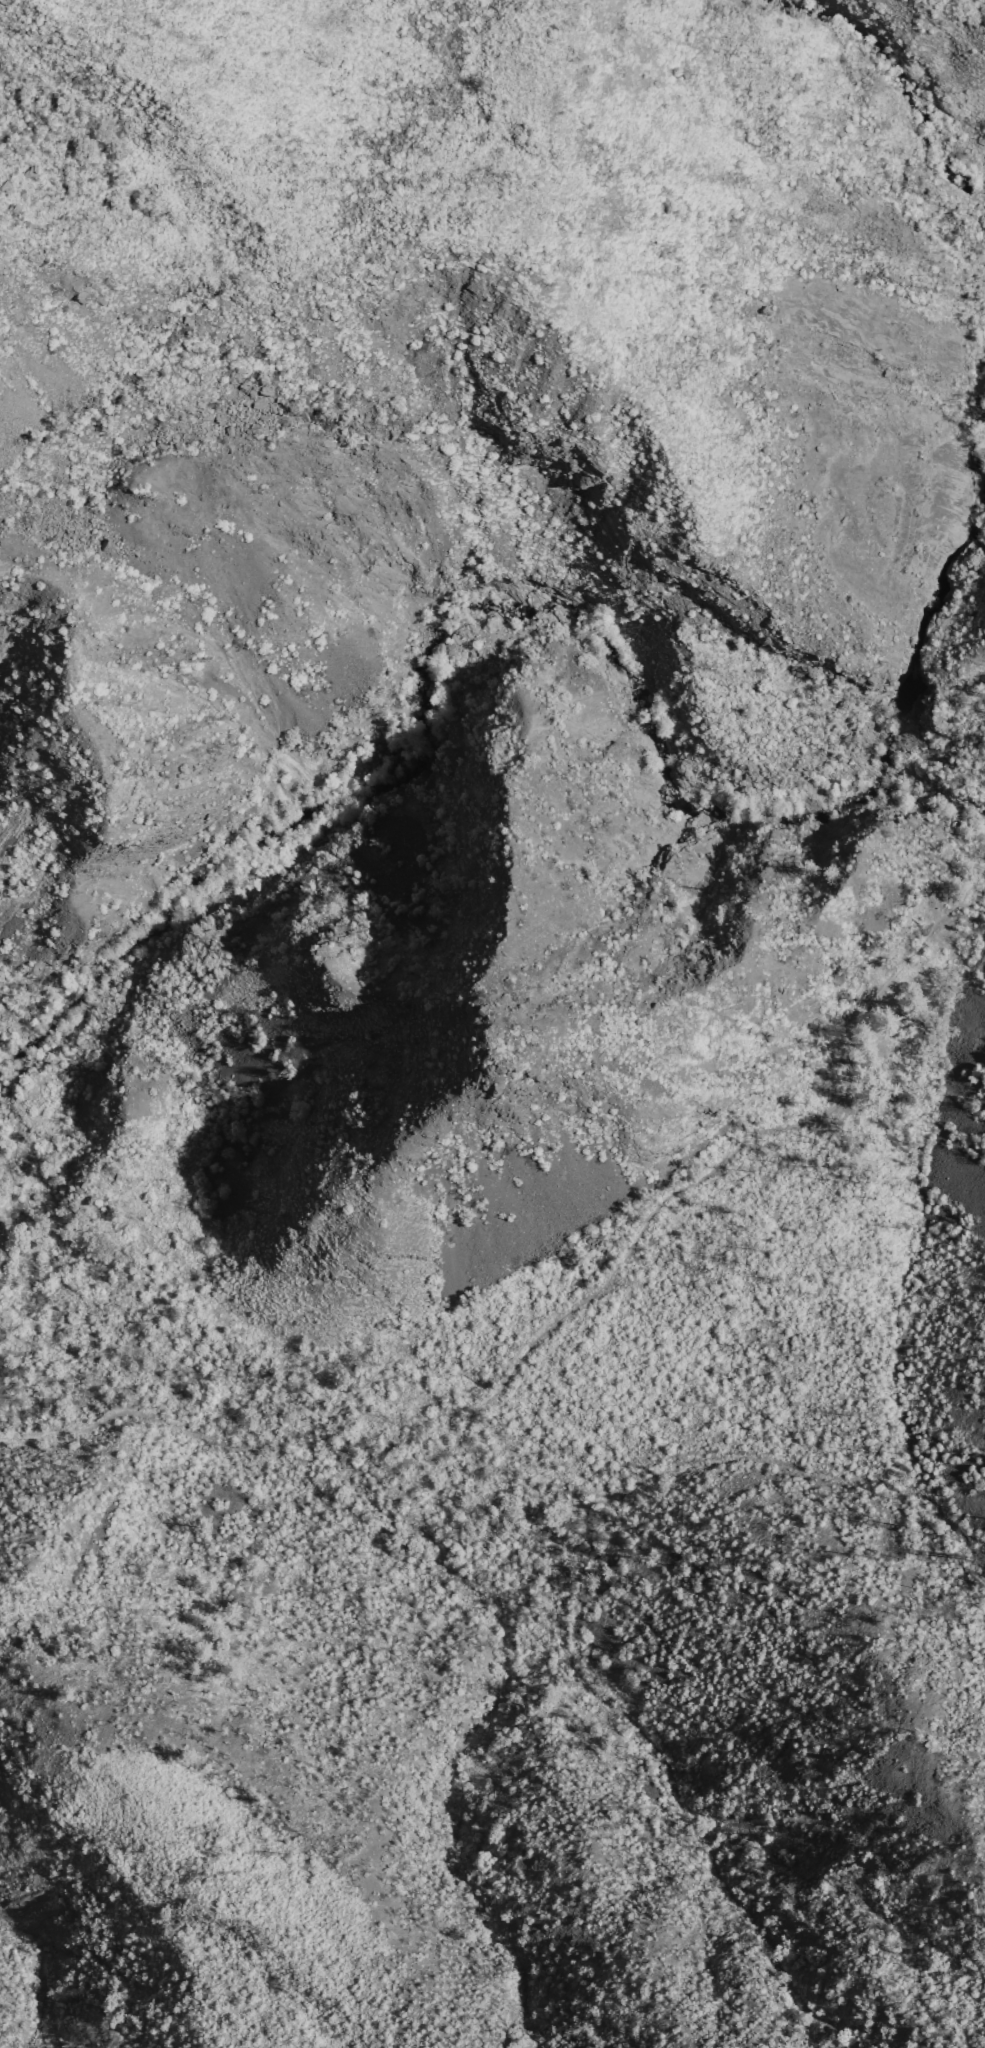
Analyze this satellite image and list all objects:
road: (964, 31)
road: (516, 635)
road: (930, 649)
road: (532, 1339)

